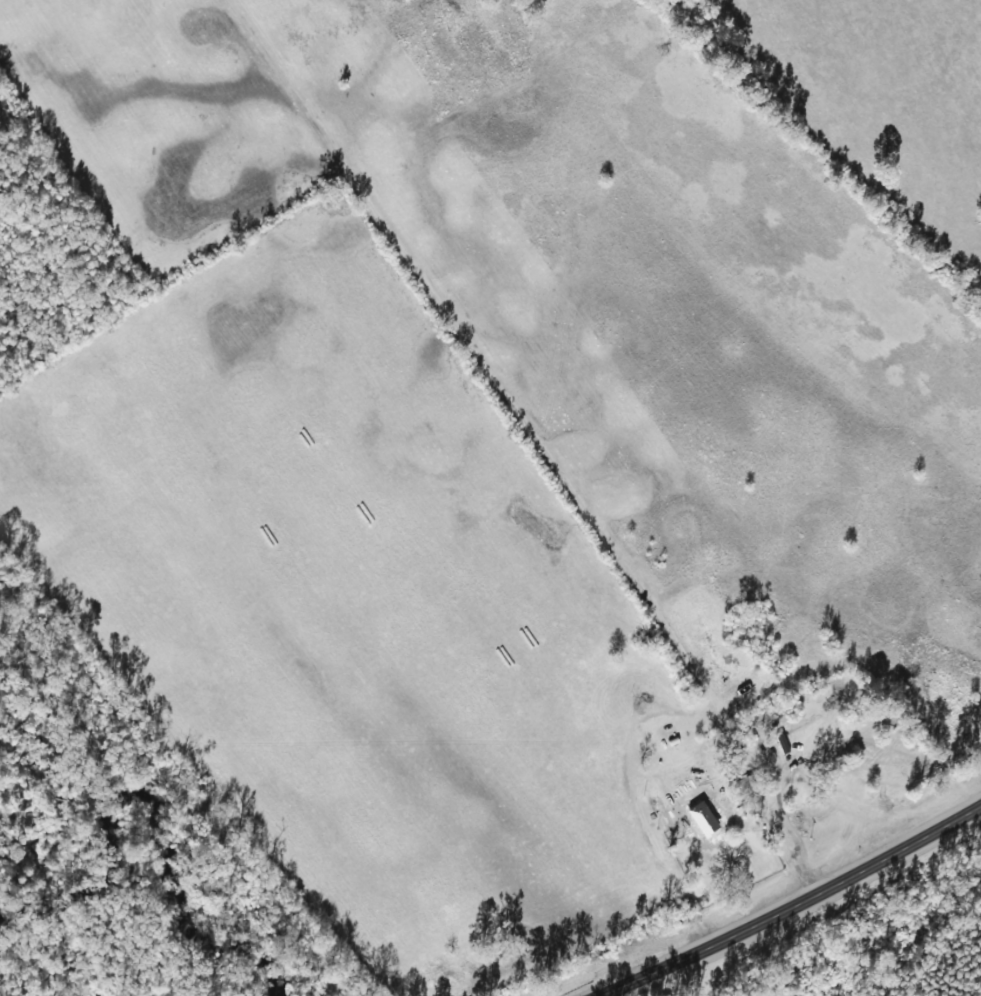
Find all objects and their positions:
road: (439, 550)
building: (709, 820)
road: (787, 912)

